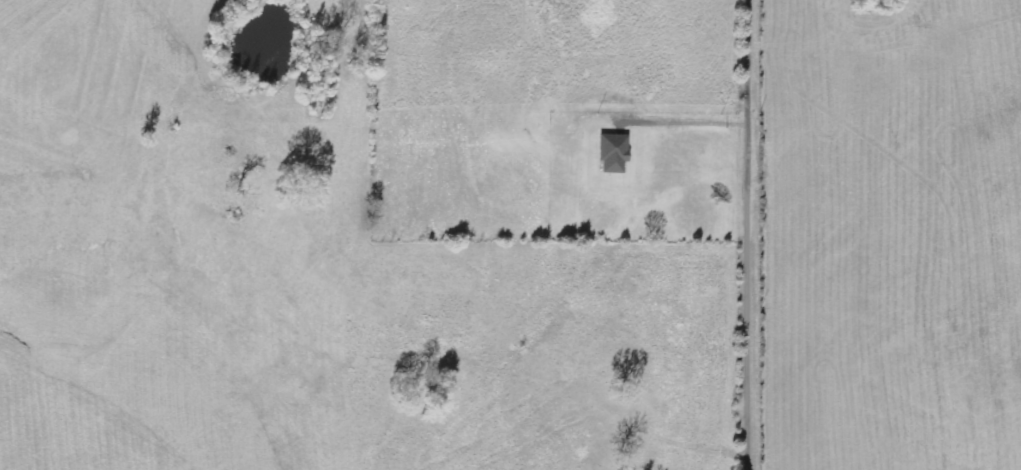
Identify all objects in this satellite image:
building: (612, 154)
road: (756, 234)

